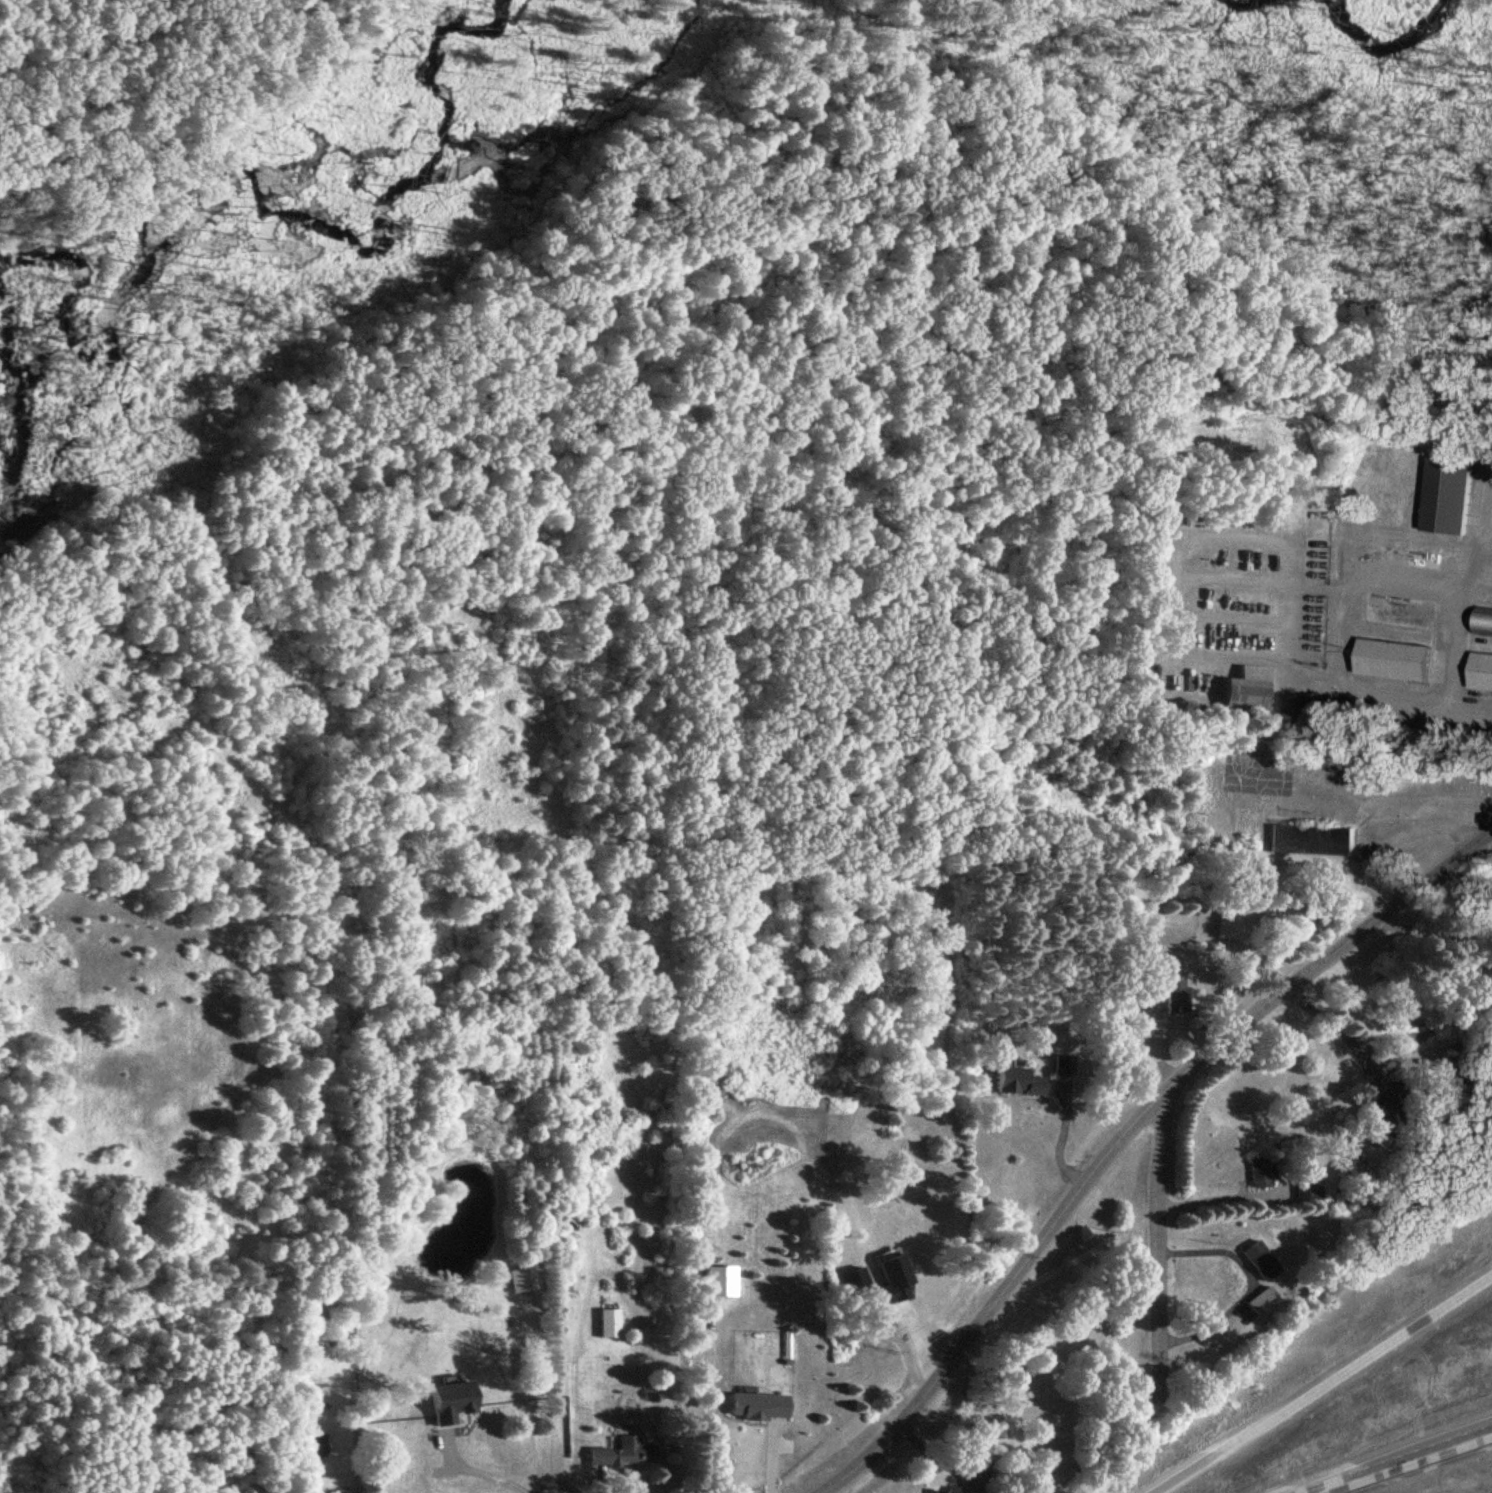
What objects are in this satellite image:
road: (78, 40)
building: (1446, 494)
building: (1424, 558)
building: (1399, 610)
building: (1484, 620)
building: (1392, 658)
building: (1480, 670)
building: (1244, 691)
building: (1309, 838)
building: (1226, 920)
building: (1175, 994)
road: (1337, 1032)
building: (1455, 1075)
building: (1016, 1081)
building: (1379, 1111)
road: (1122, 1128)
building: (1289, 1150)
building: (1259, 1172)
building: (1307, 1187)
road: (1218, 1194)
road: (1153, 1247)
building: (1260, 1259)
building: (520, 1278)
building: (718, 1279)
building: (1262, 1300)
building: (608, 1322)
road: (1321, 1378)
building: (448, 1400)
building: (757, 1405)
building: (313, 1443)
building: (620, 1451)
road: (1396, 1460)
road: (482, 1469)
building: (946, 1490)
building: (342, 1492)

